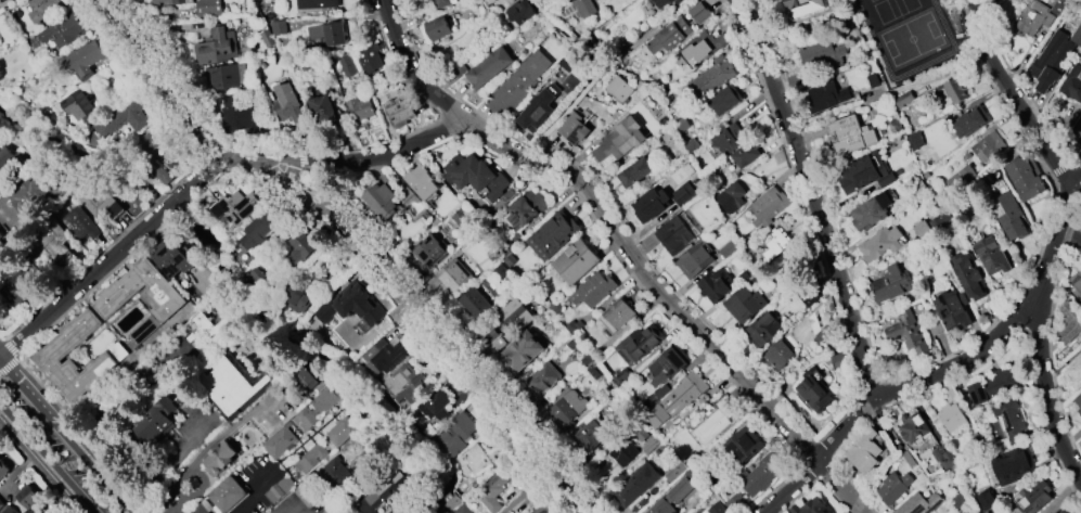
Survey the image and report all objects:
building: (0, 0)
building: (1022, 0)
building: (169, 2)
building: (442, 2)
building: (664, 2)
building: (320, 4)
building: (803, 7)
building: (43, 8)
building: (207, 8)
building: (584, 8)
building: (519, 11)
building: (698, 12)
building: (1033, 18)
building: (278, 28)
building: (436, 29)
building: (63, 30)
building: (329, 34)
building: (669, 36)
building: (215, 47)
building: (823, 54)
building: (82, 56)
building: (369, 59)
building: (1052, 60)
building: (567, 63)
building: (347, 67)
building: (490, 67)
road: (603, 69)
building: (461, 70)
building: (226, 77)
building: (711, 78)
building: (1072, 84)
building: (519, 85)
building: (620, 89)
building: (954, 90)
building: (826, 95)
road: (1013, 97)
building: (902, 100)
building: (722, 101)
building: (291, 104)
building: (77, 107)
building: (359, 108)
building: (324, 110)
building: (398, 111)
building: (539, 112)
building: (241, 113)
building: (121, 117)
building: (968, 121)
building: (575, 129)
building: (1077, 132)
building: (849, 134)
building: (729, 138)
building: (619, 140)
building: (915, 141)
building: (154, 142)
building: (987, 146)
building: (746, 154)
road: (203, 172)
road: (289, 172)
building: (634, 172)
building: (158, 175)
building: (863, 175)
building: (476, 176)
building: (961, 178)
building: (1024, 179)
building: (422, 182)
road: (172, 185)
building: (683, 191)
road: (811, 195)
building: (95, 197)
building: (731, 197)
building: (379, 201)
building: (649, 204)
building: (767, 206)
building: (235, 207)
building: (525, 209)
building: (871, 211)
building: (1008, 215)
building: (461, 218)
building: (81, 225)
building: (260, 228)
building: (0, 234)
building: (552, 235)
building: (672, 235)
road: (1070, 235)
building: (0, 241)
road: (362, 243)
road: (623, 243)
building: (880, 243)
building: (54, 244)
building: (774, 244)
building: (426, 251)
building: (297, 252)
building: (991, 256)
building: (172, 258)
building: (694, 259)
building: (574, 261)
building: (968, 275)
building: (449, 278)
building: (16, 282)
building: (1077, 284)
building: (888, 285)
building: (715, 287)
building: (592, 290)
building: (123, 291)
building: (296, 300)
building: (348, 304)
building: (475, 304)
building: (743, 305)
building: (952, 310)
building: (515, 316)
building: (615, 316)
road: (1040, 318)
building: (1070, 322)
building: (572, 326)
building: (761, 330)
building: (908, 333)
building: (496, 343)
building: (638, 344)
building: (520, 352)
building: (776, 355)
building: (50, 356)
building: (383, 356)
building: (1076, 364)
building: (665, 367)
road: (923, 367)
building: (619, 376)
building: (398, 377)
building: (306, 379)
building: (541, 380)
building: (231, 385)
building: (993, 385)
building: (412, 390)
road: (890, 392)
building: (659, 393)
building: (814, 393)
building: (683, 394)
building: (949, 394)
building: (327, 398)
building: (1078, 402)
building: (436, 405)
building: (566, 411)
building: (951, 418)
building: (306, 419)
building: (1012, 420)
building: (157, 421)
building: (715, 421)
road: (230, 427)
building: (914, 428)
building: (342, 429)
building: (638, 433)
road: (69, 434)
building: (456, 435)
building: (588, 436)
building: (281, 441)
building: (652, 446)
building: (741, 447)
building: (864, 451)
building: (623, 452)
building: (943, 457)
building: (222, 458)
building: (309, 458)
road: (165, 459)
building: (477, 460)
building: (909, 460)
road: (44, 462)
building: (1009, 467)
building: (3, 469)
road: (185, 469)
building: (333, 474)
building: (757, 475)
building: (636, 485)
building: (893, 487)
building: (279, 489)
road: (532, 490)
building: (492, 491)
road: (258, 492)
building: (230, 495)
building: (381, 495)
building: (1033, 498)
building: (960, 499)
building: (20, 501)
building: (0, 503)
road: (172, 503)
building: (918, 503)
road: (281, 504)
building: (203, 508)
building: (661, 508)
building: (810, 508)
building: (463, 509)
building: (542, 509)
building: (717, 509)
building: (31, 511)
building: (971, 511)
building: (1064, 511)
building: (524, 512)

